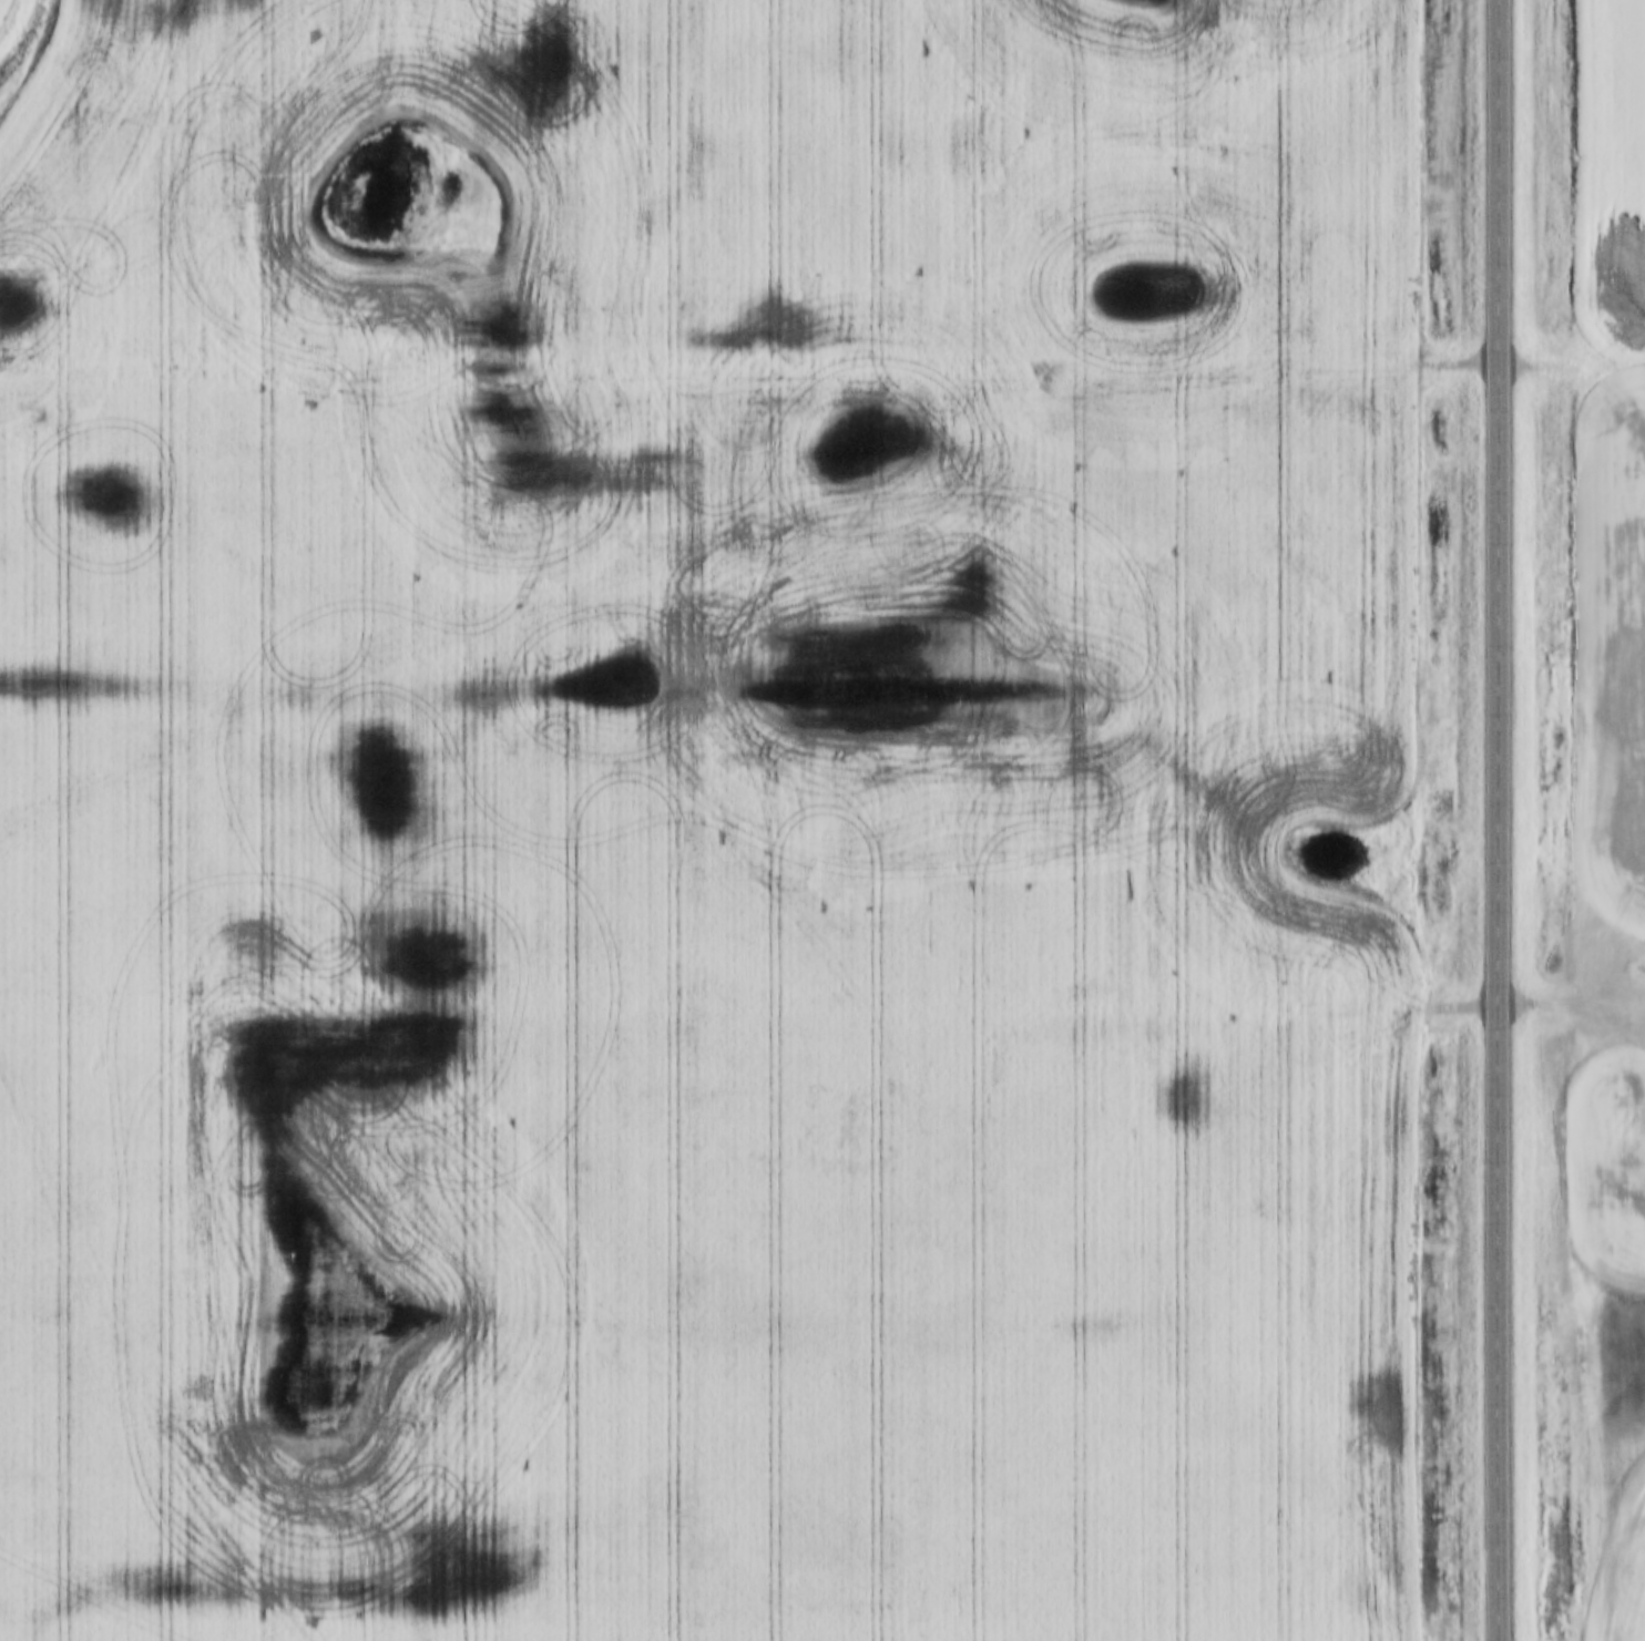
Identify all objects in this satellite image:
road: (1496, 820)

